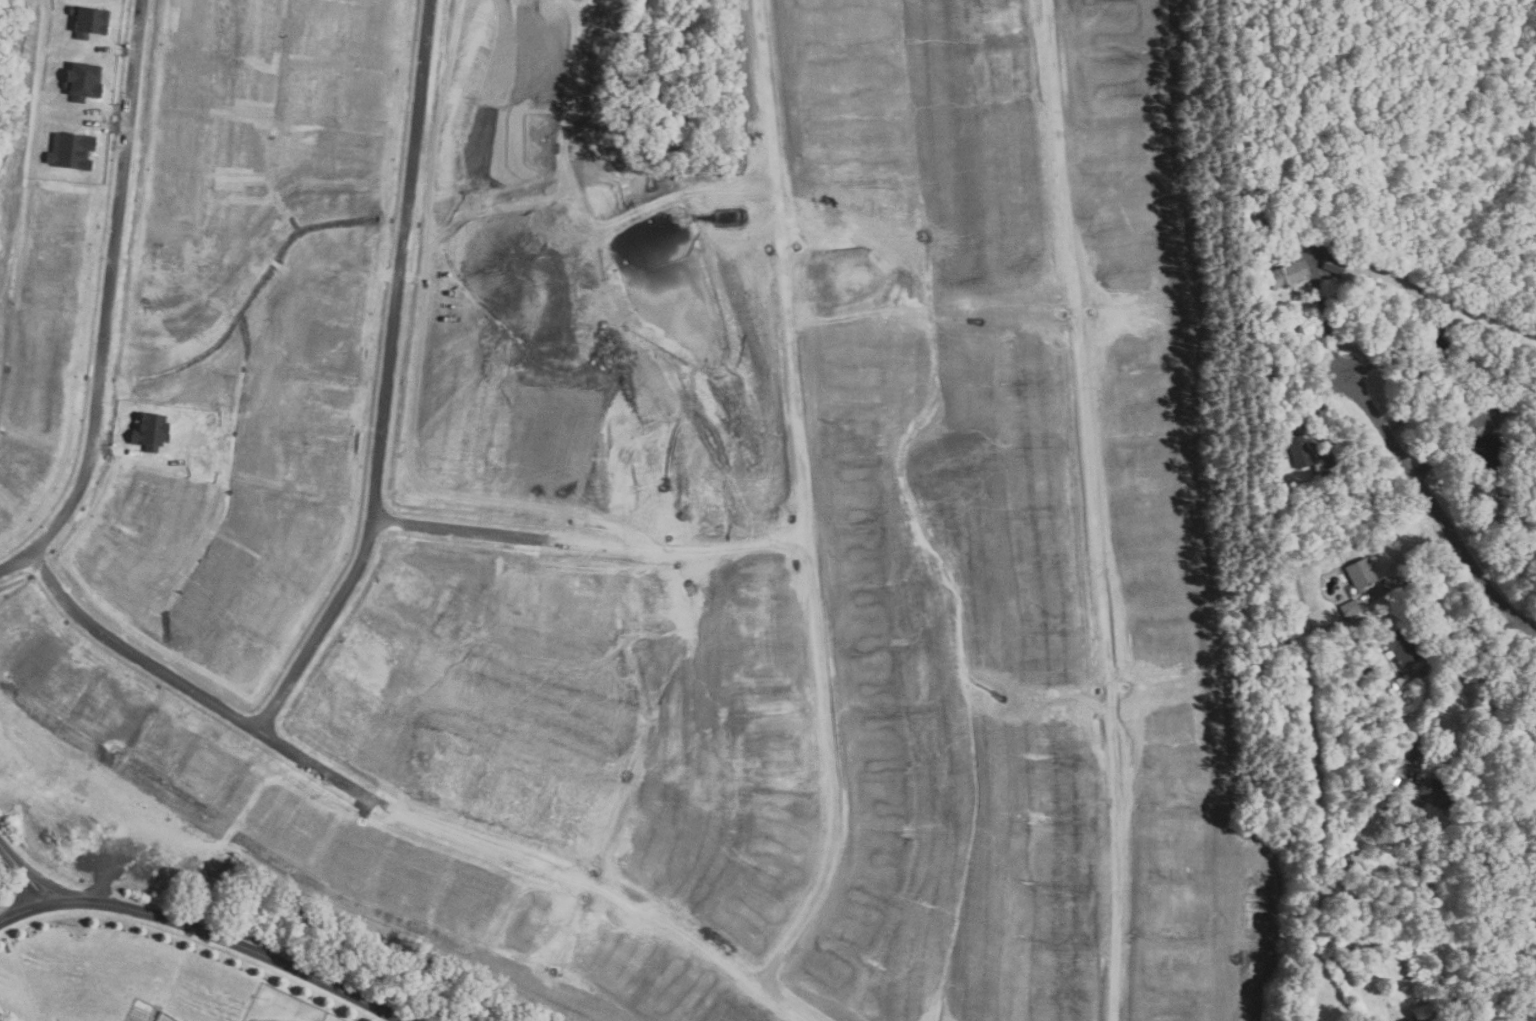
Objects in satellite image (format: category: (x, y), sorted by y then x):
building: (485, 5)
building: (192, 15)
building: (92, 22)
building: (367, 35)
building: (474, 51)
building: (186, 75)
building: (86, 83)
building: (362, 98)
building: (182, 142)
building: (74, 153)
building: (355, 163)
building: (171, 203)
building: (72, 212)
building: (1263, 224)
building: (1292, 242)
building: (1334, 252)
building: (1335, 265)
building: (1289, 273)
building: (63, 277)
road: (118, 288)
road: (1331, 324)
building: (339, 337)
building: (58, 341)
building: (1439, 347)
road: (1417, 365)
building: (1473, 379)
road: (399, 382)
building: (330, 406)
building: (1497, 409)
building: (46, 410)
road: (1314, 417)
building: (1479, 427)
building: (153, 432)
building: (1301, 450)
building: (1486, 453)
road: (1441, 459)
building: (332, 470)
building: (29, 478)
road: (817, 503)
road: (1436, 507)
road: (1096, 510)
building: (311, 535)
road: (603, 547)
building: (108, 553)
road: (19, 566)
road: (1423, 566)
building: (1361, 573)
building: (408, 581)
building: (271, 604)
building: (1350, 608)
road: (1462, 622)
building: (379, 644)
building: (1403, 649)
building: (240, 660)
building: (1370, 668)
building: (60, 669)
road: (1456, 674)
building: (1404, 683)
building: (333, 706)
building: (109, 709)
building: (162, 739)
building: (206, 757)
building: (1406, 787)
building: (255, 788)
building: (1436, 793)
road: (413, 801)
building: (306, 821)
road: (24, 874)
road: (204, 936)
building: (1414, 1019)

